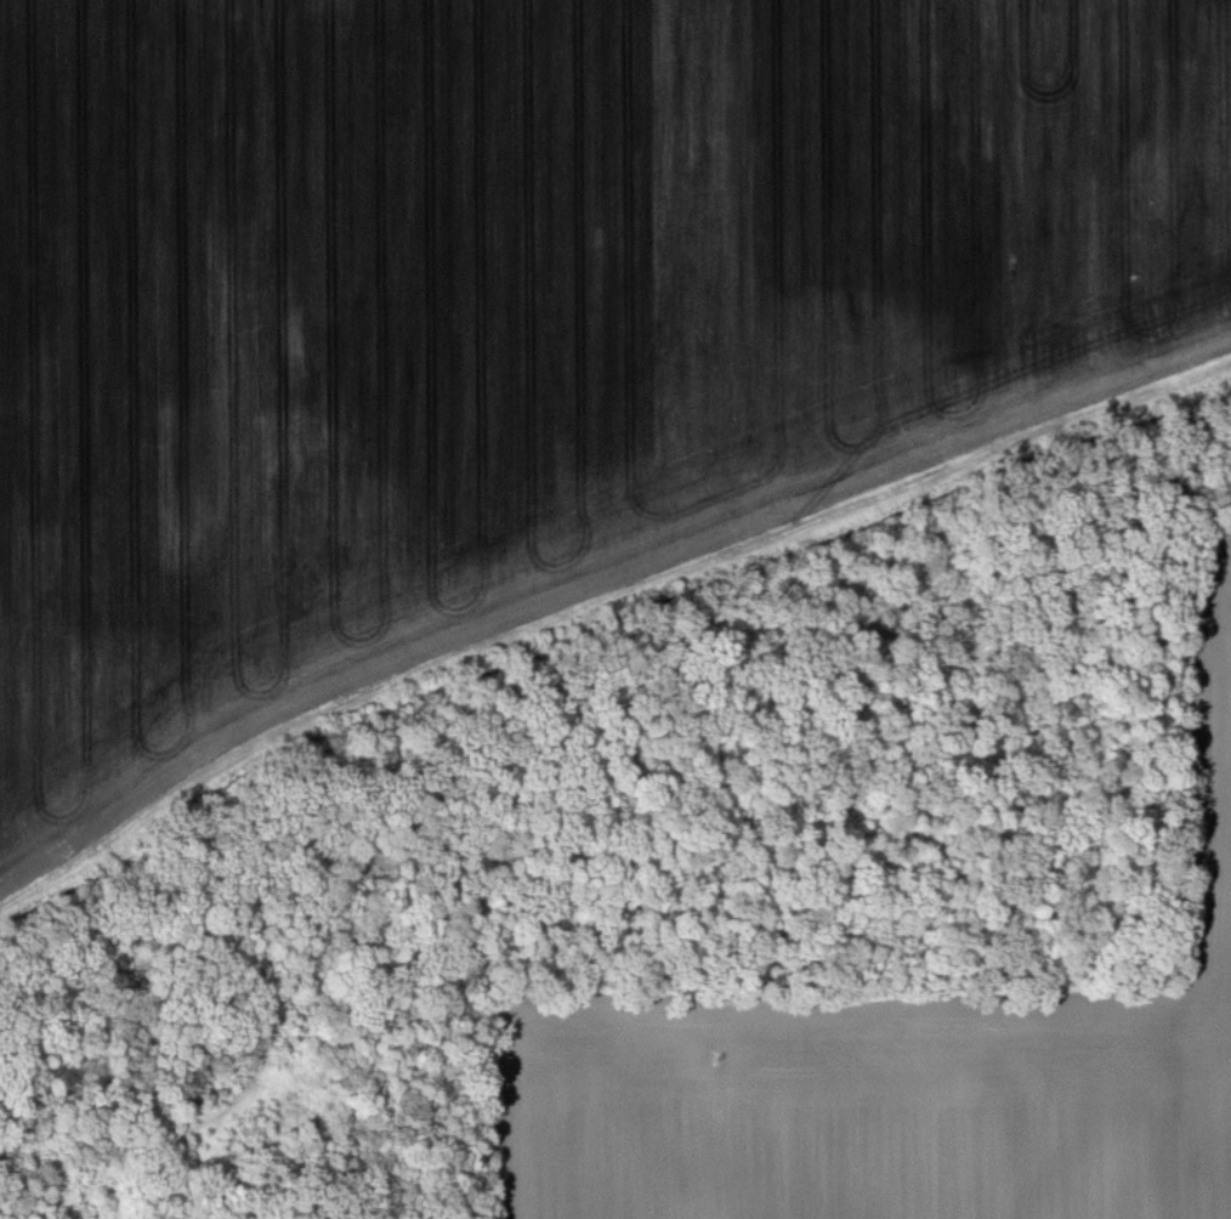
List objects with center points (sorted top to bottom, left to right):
road: (203, 936)

